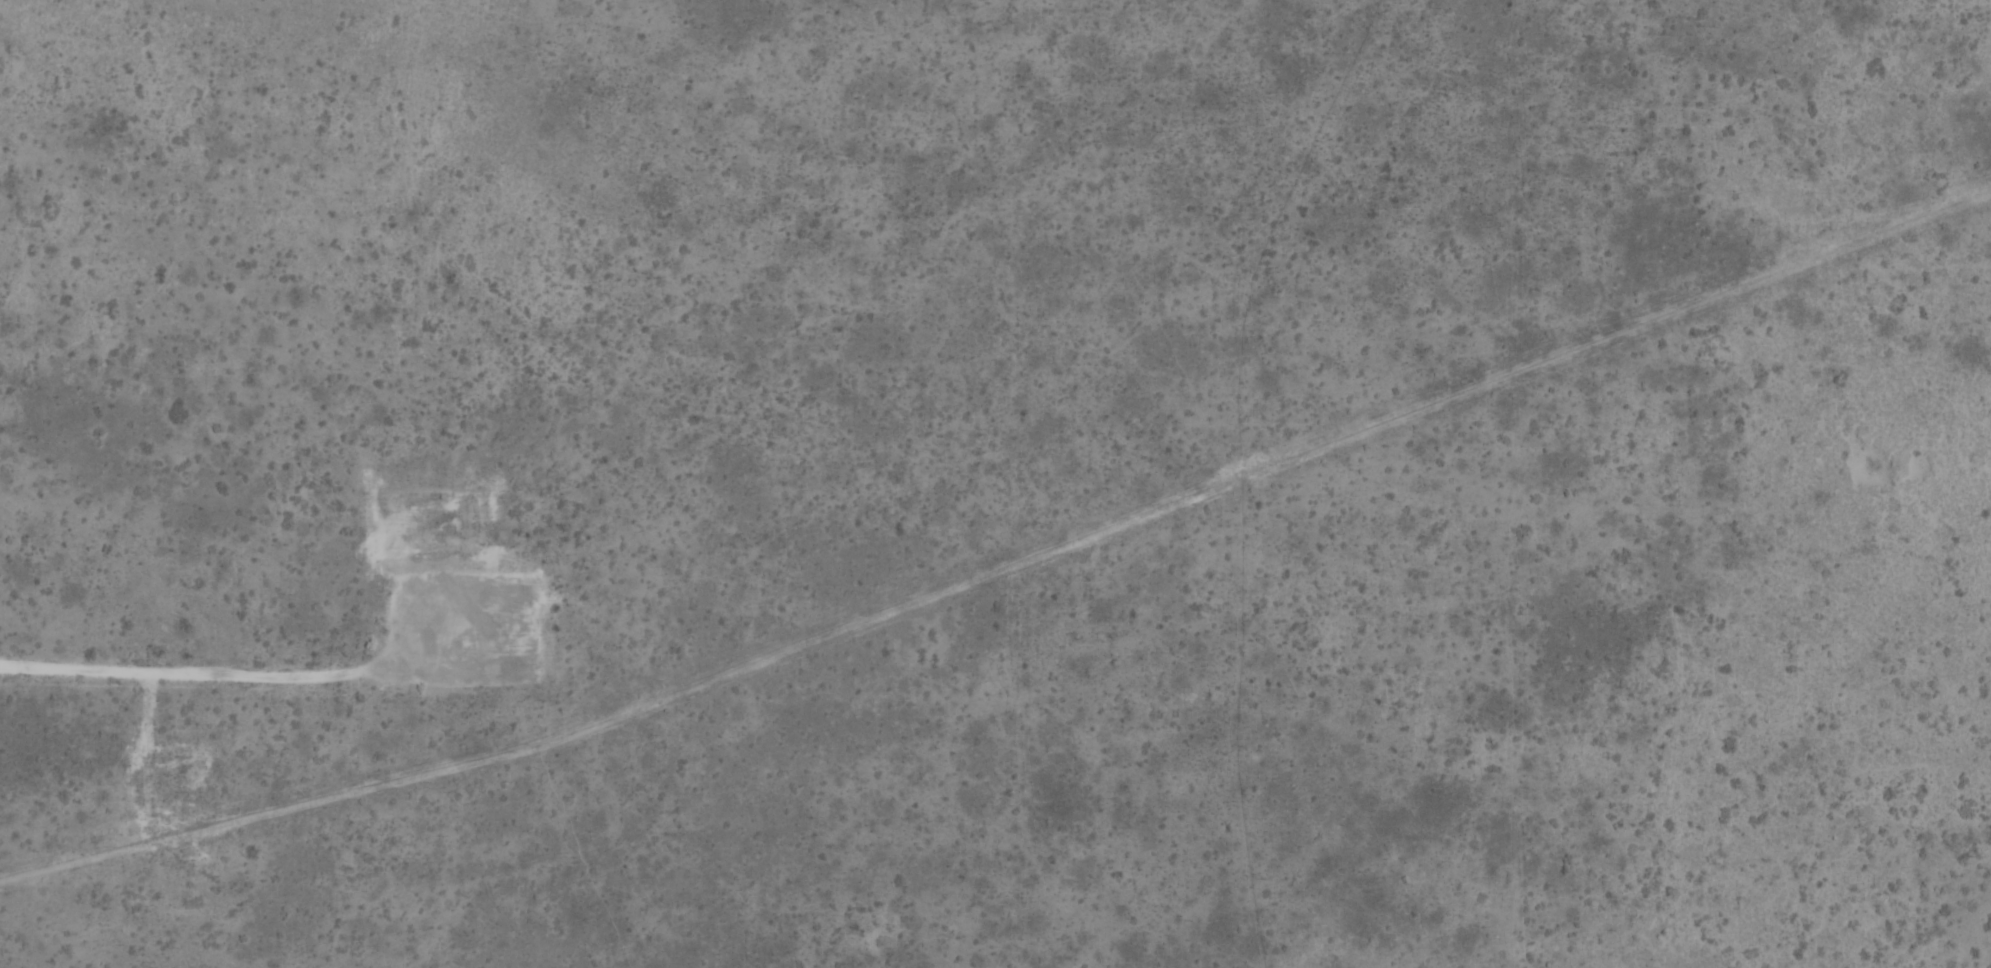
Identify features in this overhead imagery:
road: (219, 664)

